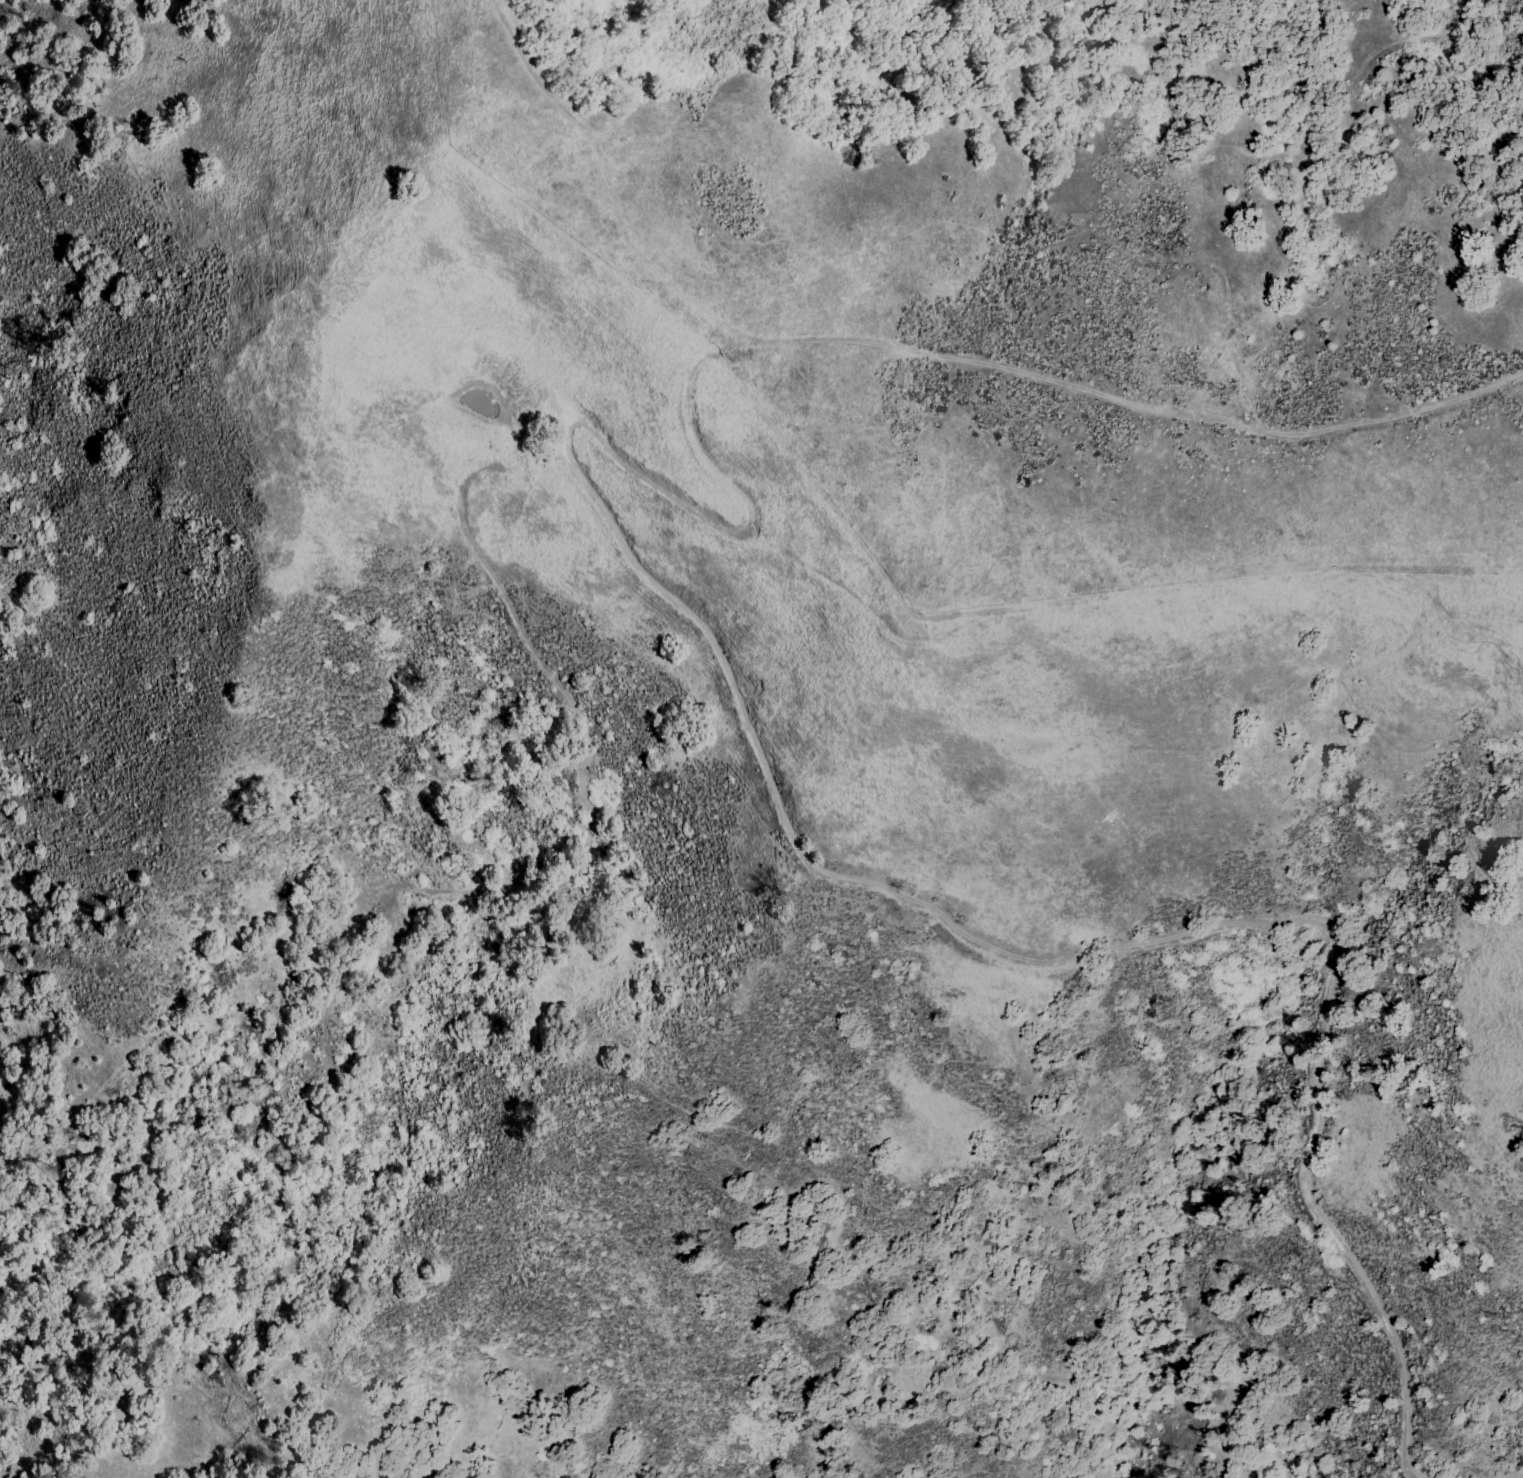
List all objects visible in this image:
road: (925, 354)

